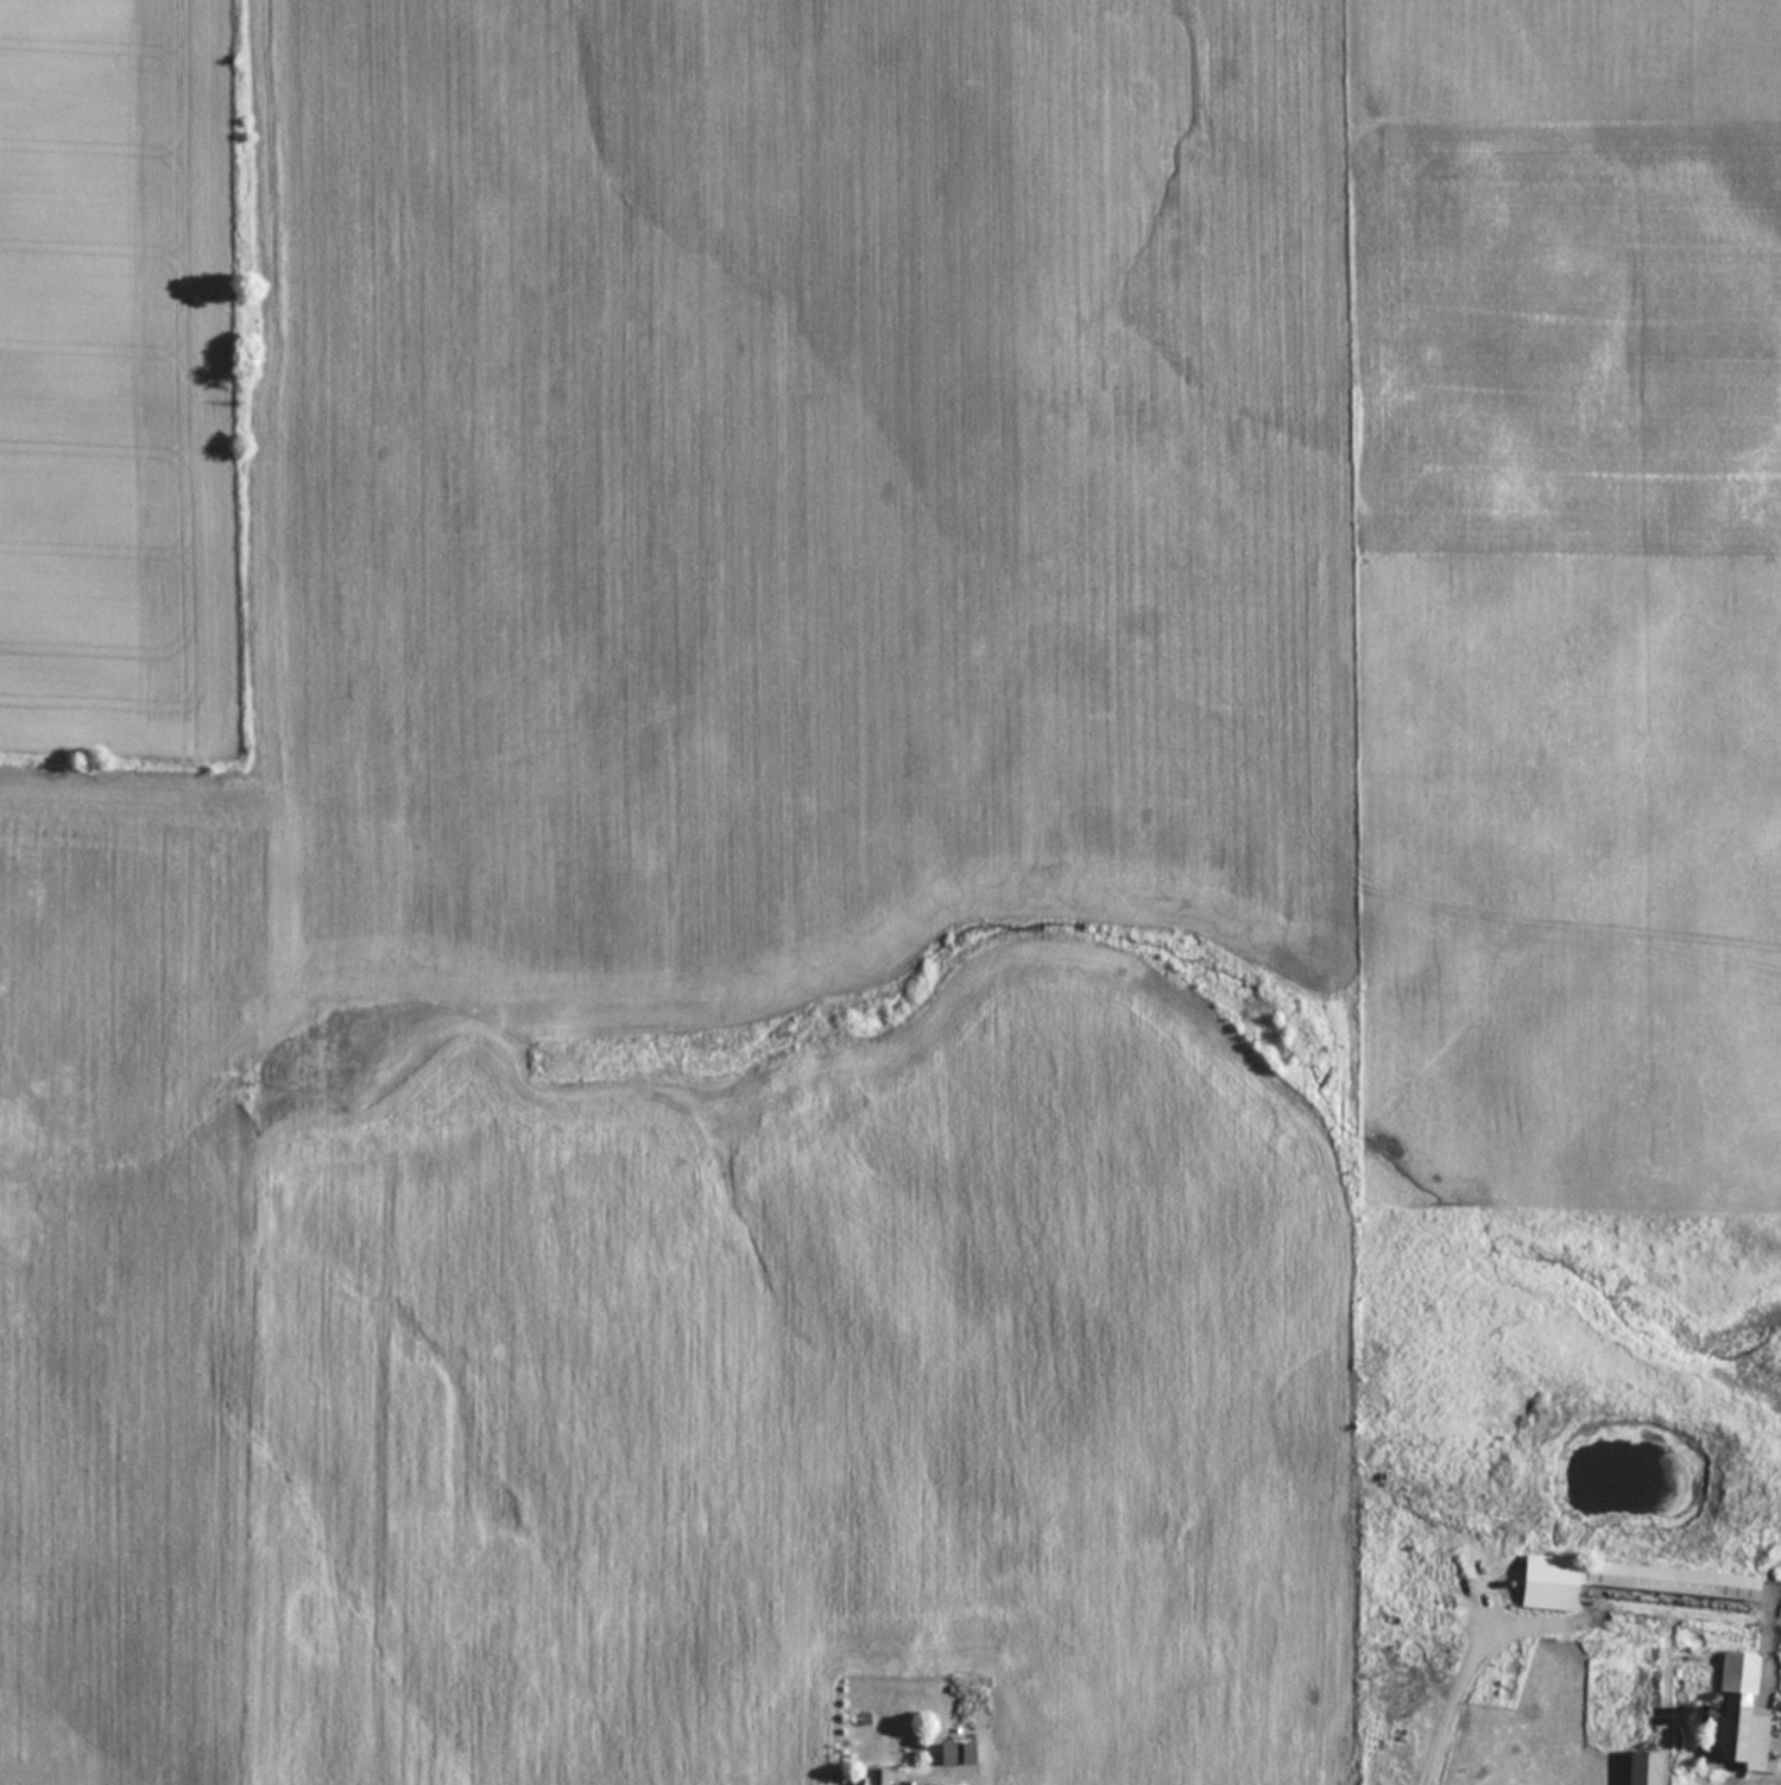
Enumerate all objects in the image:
building: (1671, 1578)
building: (975, 1676)
building: (1738, 1713)
building: (960, 1751)
building: (1647, 1767)
building: (878, 1775)

